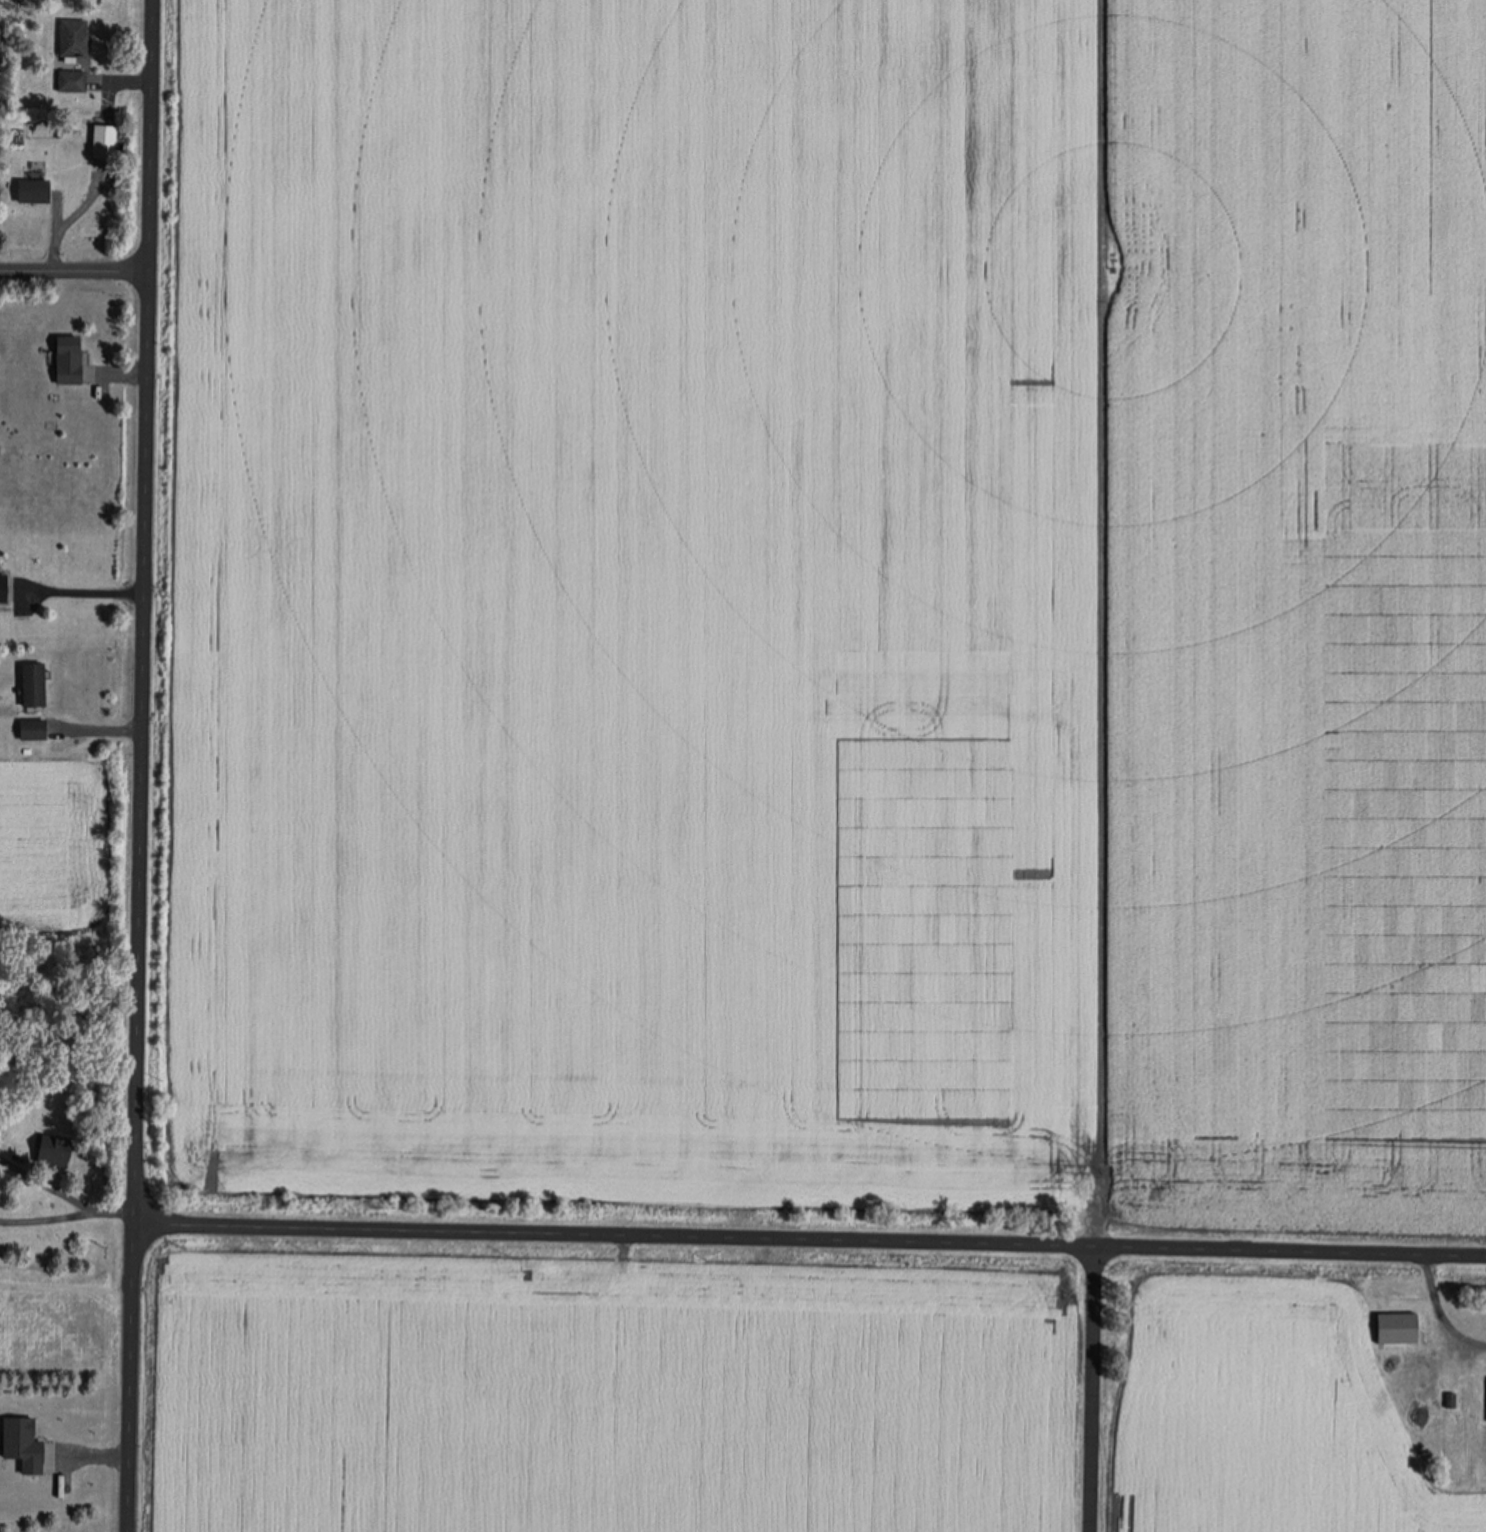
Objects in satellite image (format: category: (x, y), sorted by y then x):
building: (70, 42)
building: (69, 81)
building: (100, 142)
building: (28, 190)
road: (75, 267)
building: (68, 361)
building: (0, 575)
road: (78, 587)
building: (29, 683)
building: (29, 728)
road: (141, 766)
building: (50, 1149)
road: (810, 1238)
building: (1402, 1341)
road: (1090, 1388)

